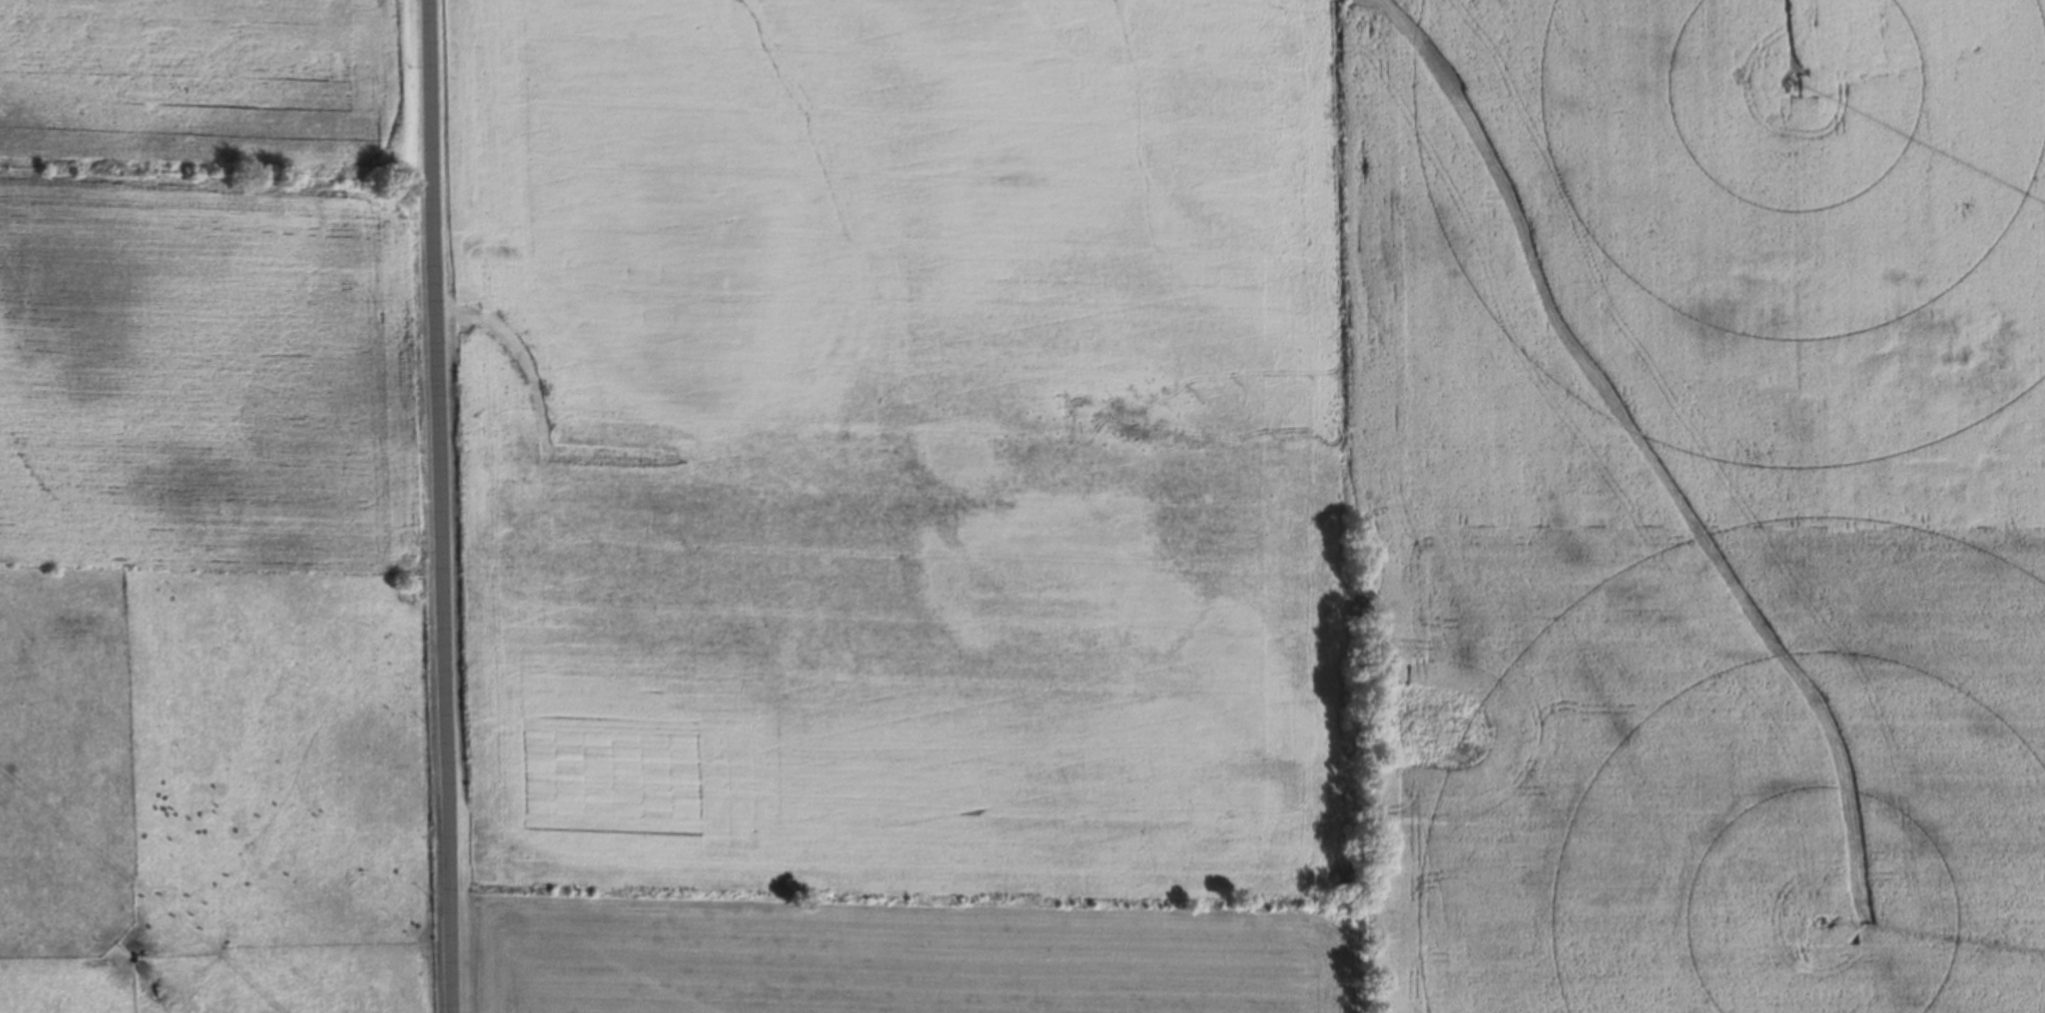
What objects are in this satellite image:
road: (433, 506)

